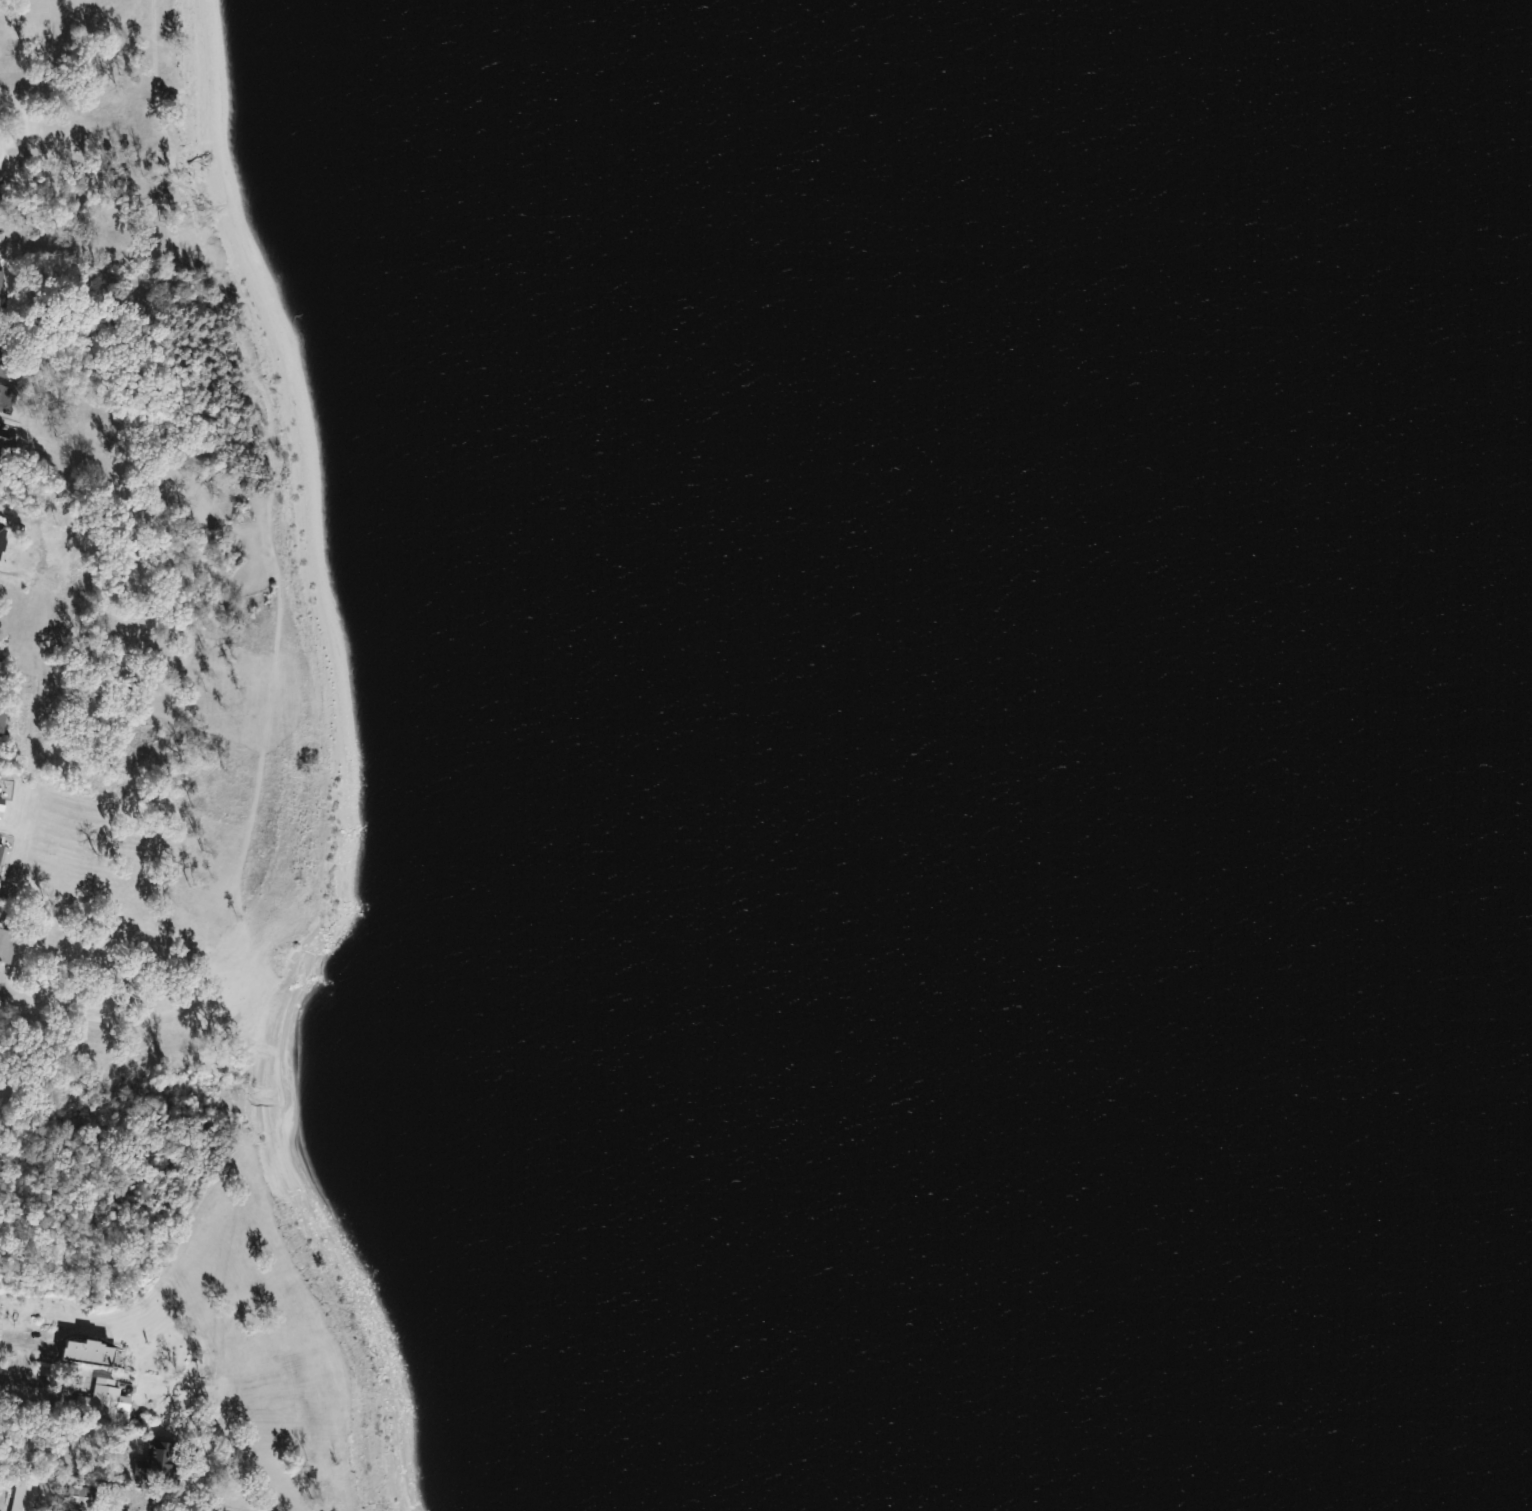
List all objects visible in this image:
building: (1, 286)
building: (2, 354)
building: (3, 395)
building: (2, 434)
building: (0, 720)
building: (6, 941)
building: (90, 1351)
road: (22, 1359)
building: (103, 1396)
building: (160, 1460)
building: (25, 1491)

